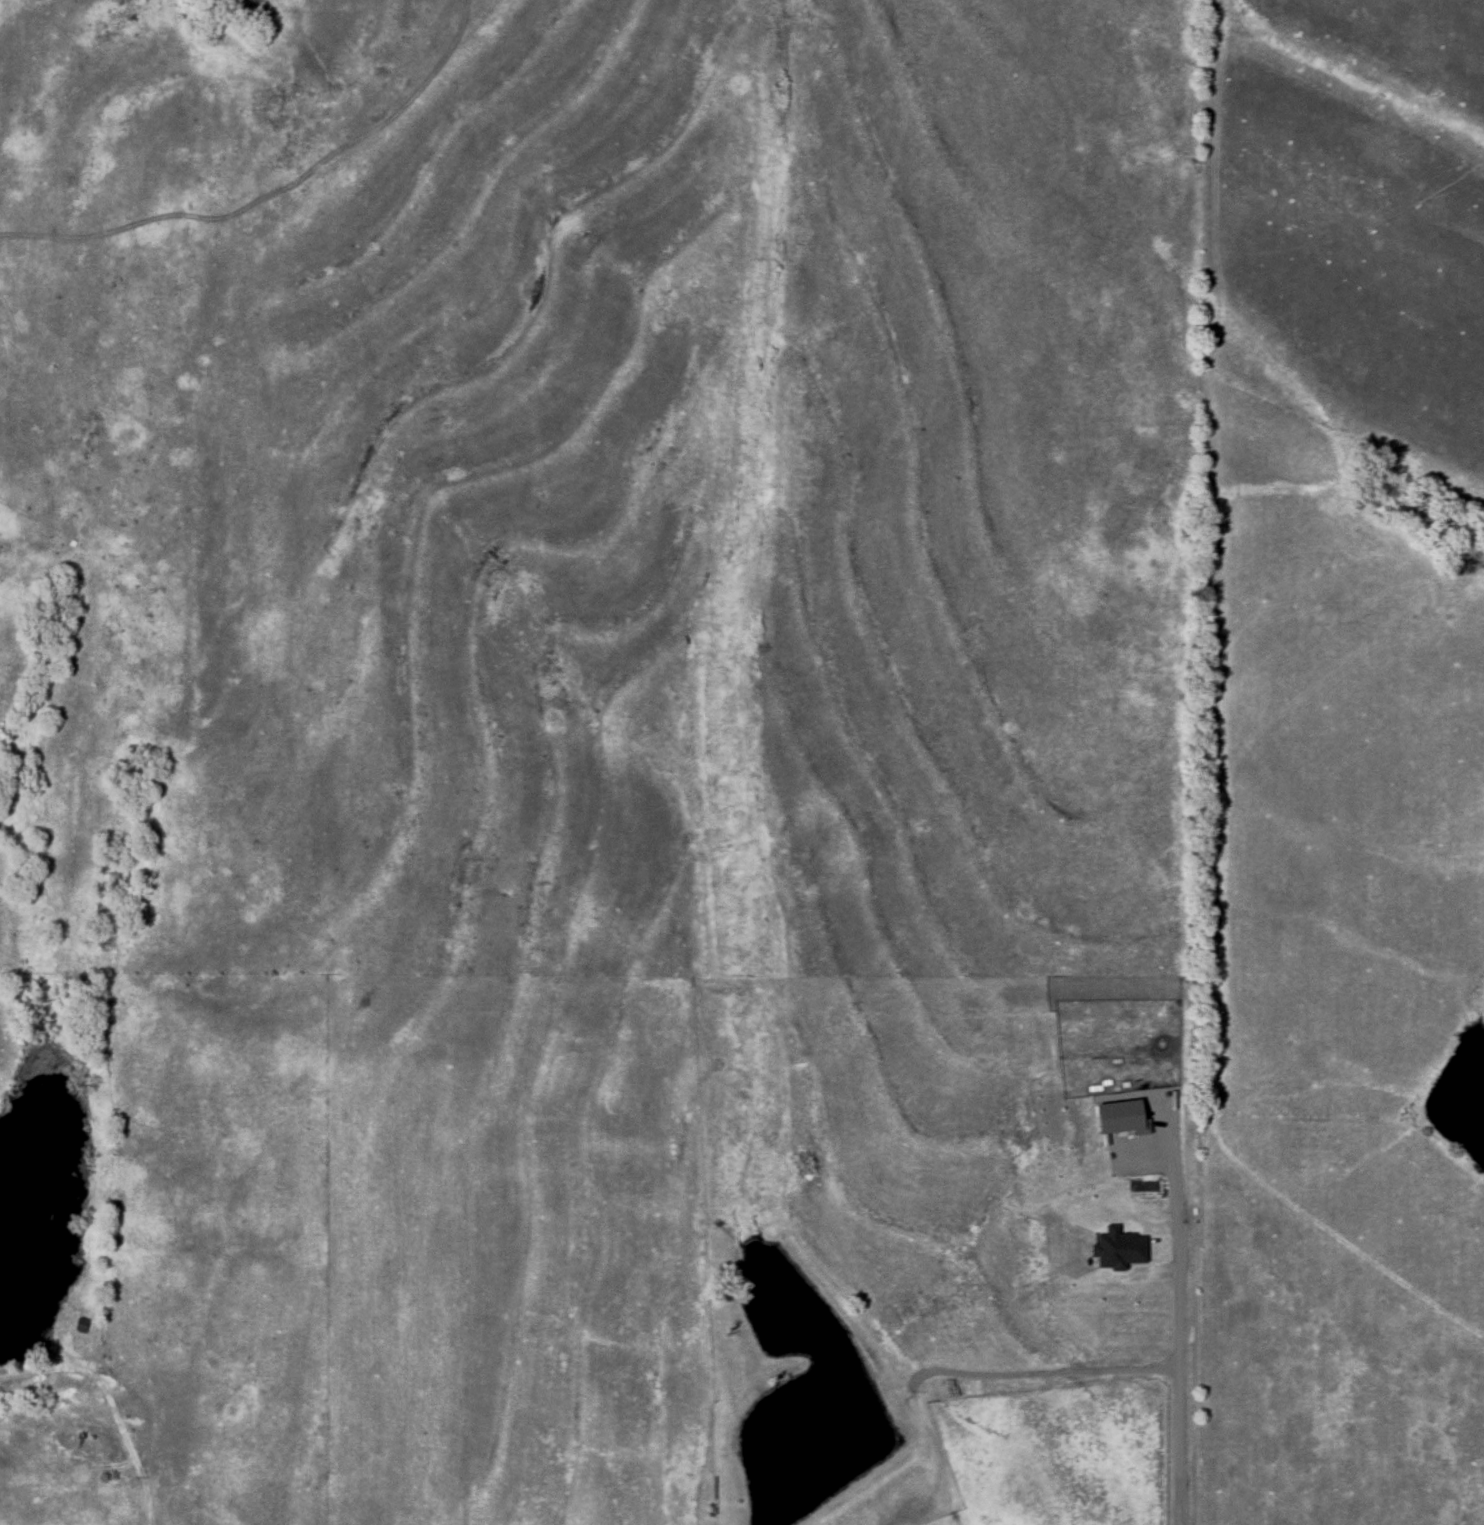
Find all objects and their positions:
building: (81, 1325)
road: (1175, 1331)
road: (1055, 1369)

